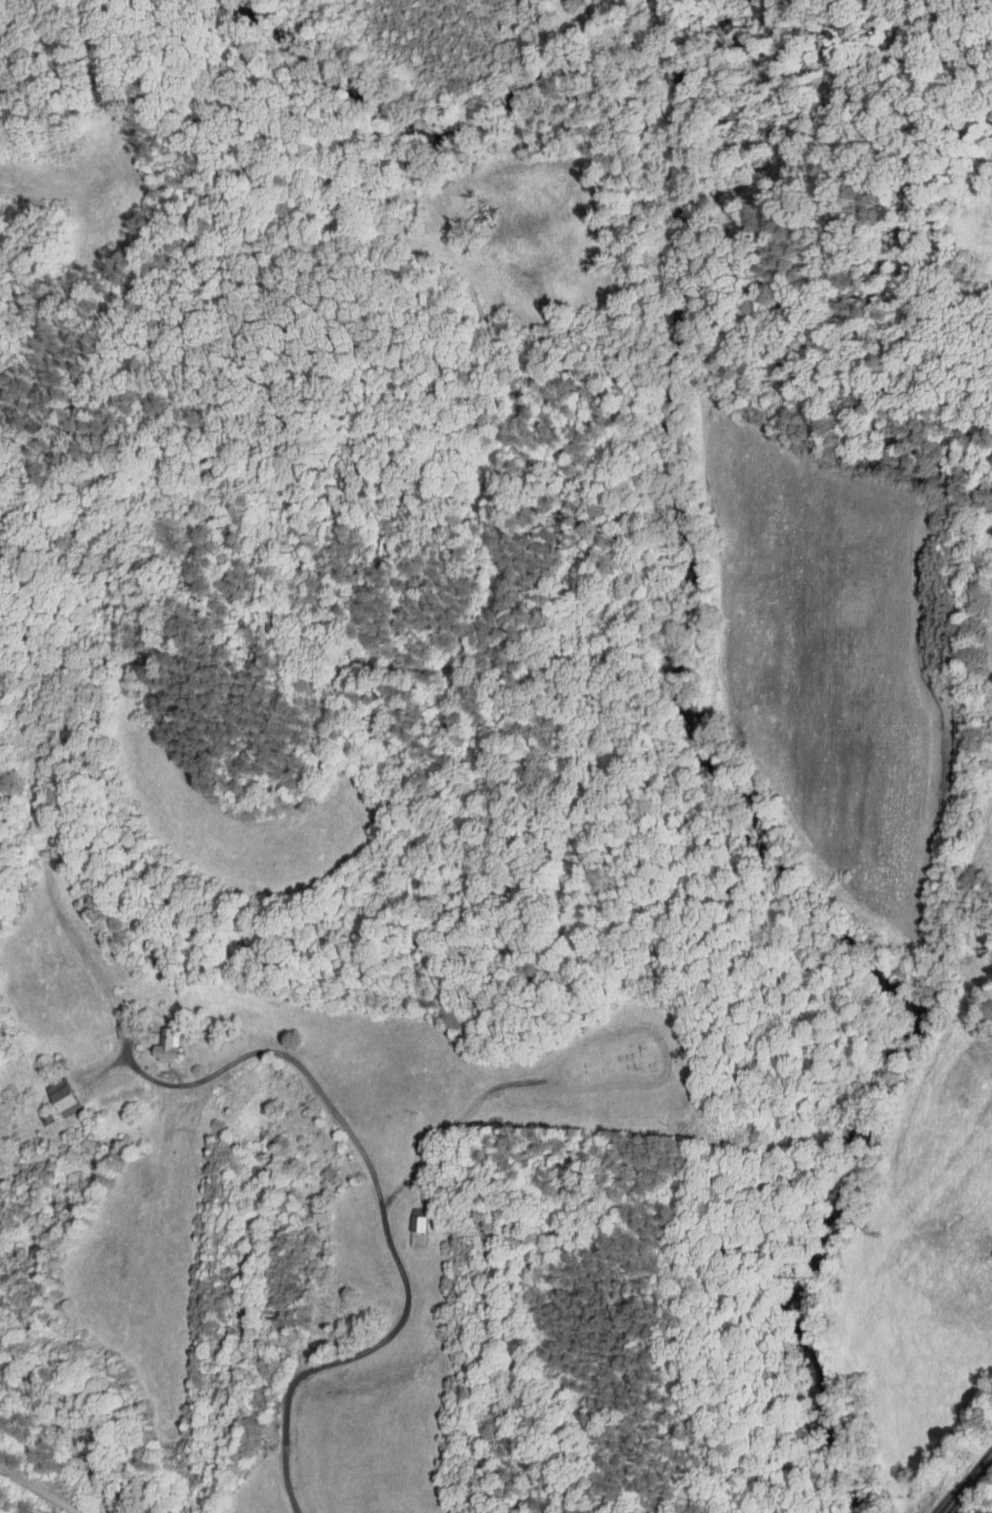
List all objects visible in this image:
building: (110, 1025)
building: (157, 1041)
building: (169, 1046)
building: (60, 1061)
park: (614, 1072)
building: (51, 1092)
building: (65, 1097)
building: (48, 1118)
road: (382, 1207)
building: (407, 1222)
building: (421, 1228)
building: (94, 1479)
road: (966, 1481)
road: (38, 1489)

